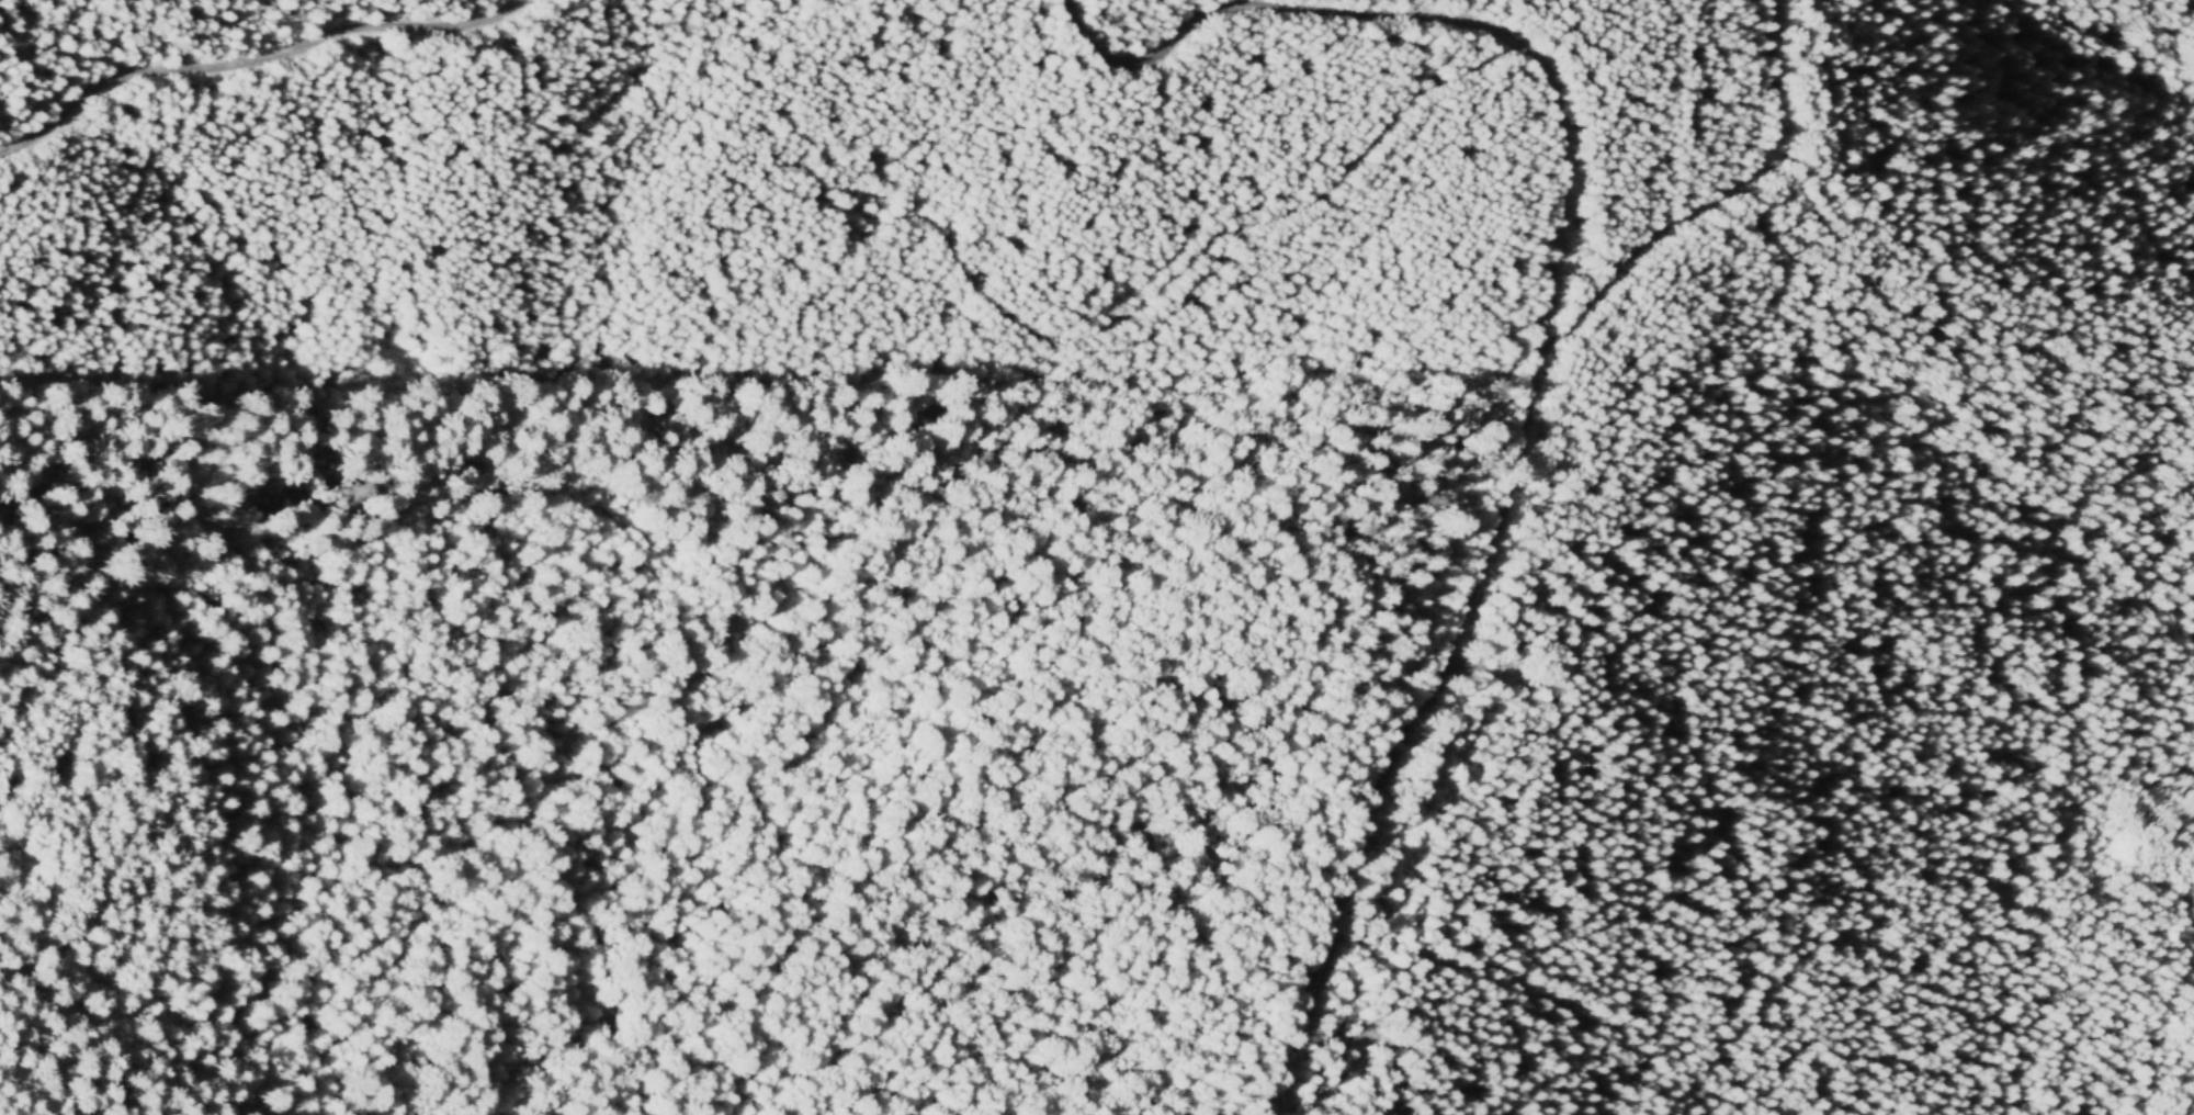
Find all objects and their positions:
road: (255, 61)
road: (1491, 381)

